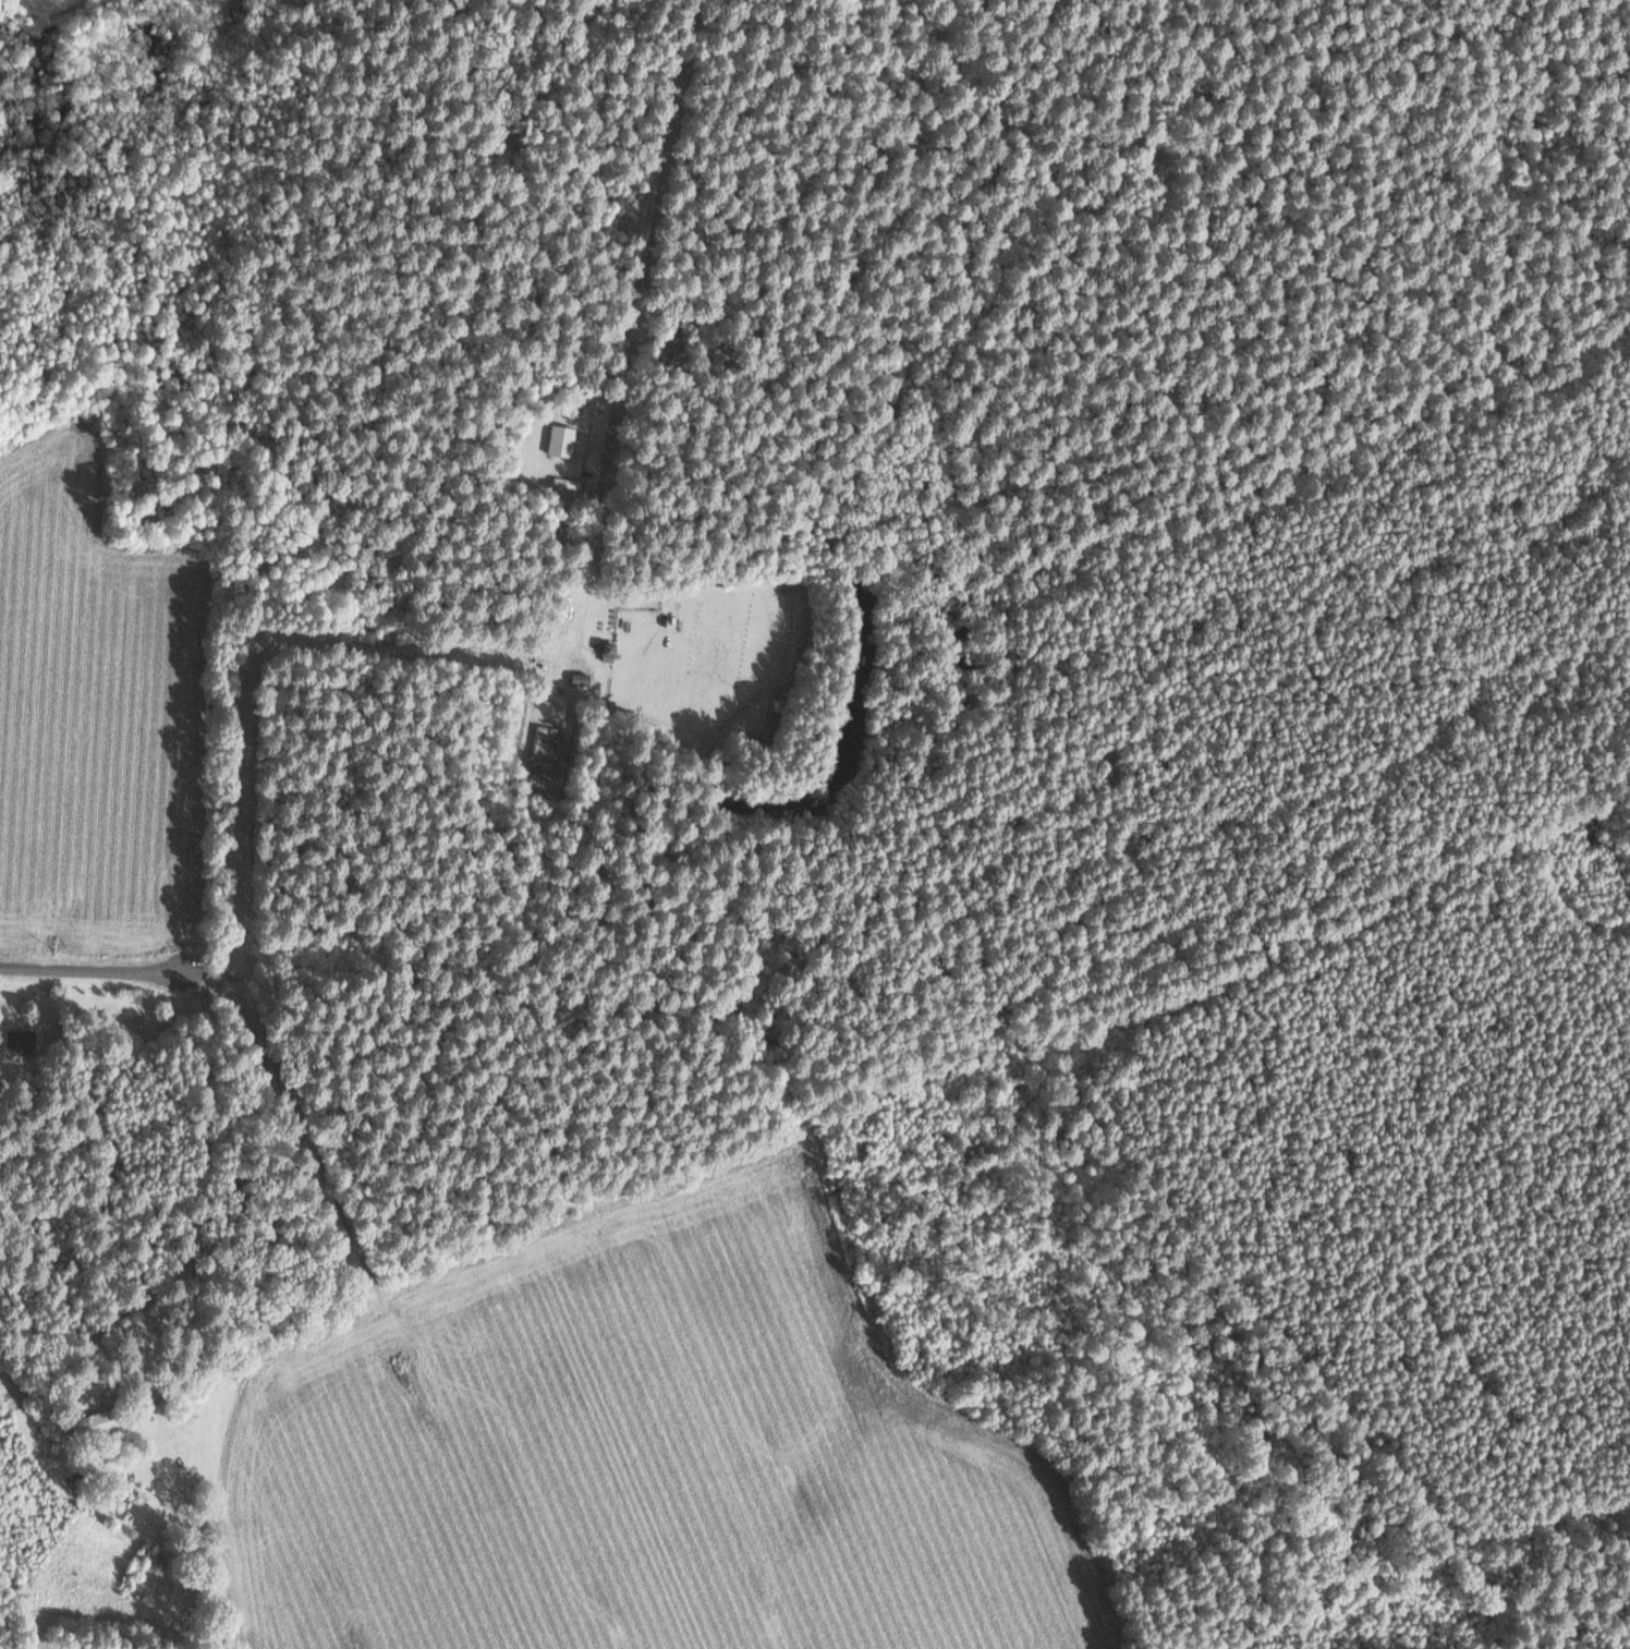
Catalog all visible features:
road: (666, 100)
building: (561, 440)
road: (462, 651)
building: (582, 679)
building: (20, 1036)
road: (202, 1145)
building: (98, 1423)
road: (22, 1609)

